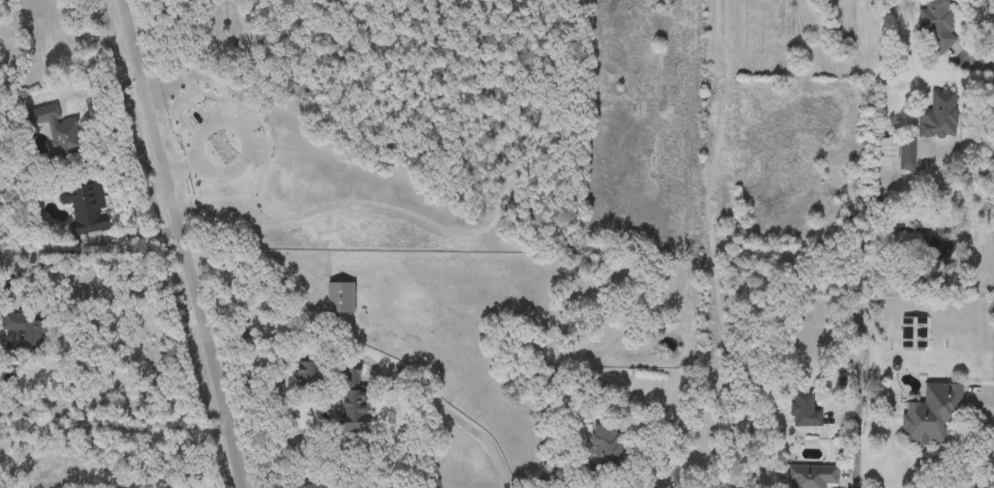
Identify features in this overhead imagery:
building: (47, 22)
building: (936, 22)
road: (88, 92)
building: (939, 116)
park: (367, 119)
road: (238, 129)
building: (57, 131)
building: (888, 151)
building: (906, 164)
road: (183, 168)
building: (85, 208)
road: (134, 238)
road: (183, 243)
building: (340, 298)
road: (139, 310)
building: (28, 333)
building: (914, 333)
road: (343, 358)
building: (354, 398)
building: (804, 410)
building: (931, 415)
road: (859, 430)
road: (113, 432)
building: (606, 449)
road: (660, 455)
building: (810, 476)
building: (309, 487)

